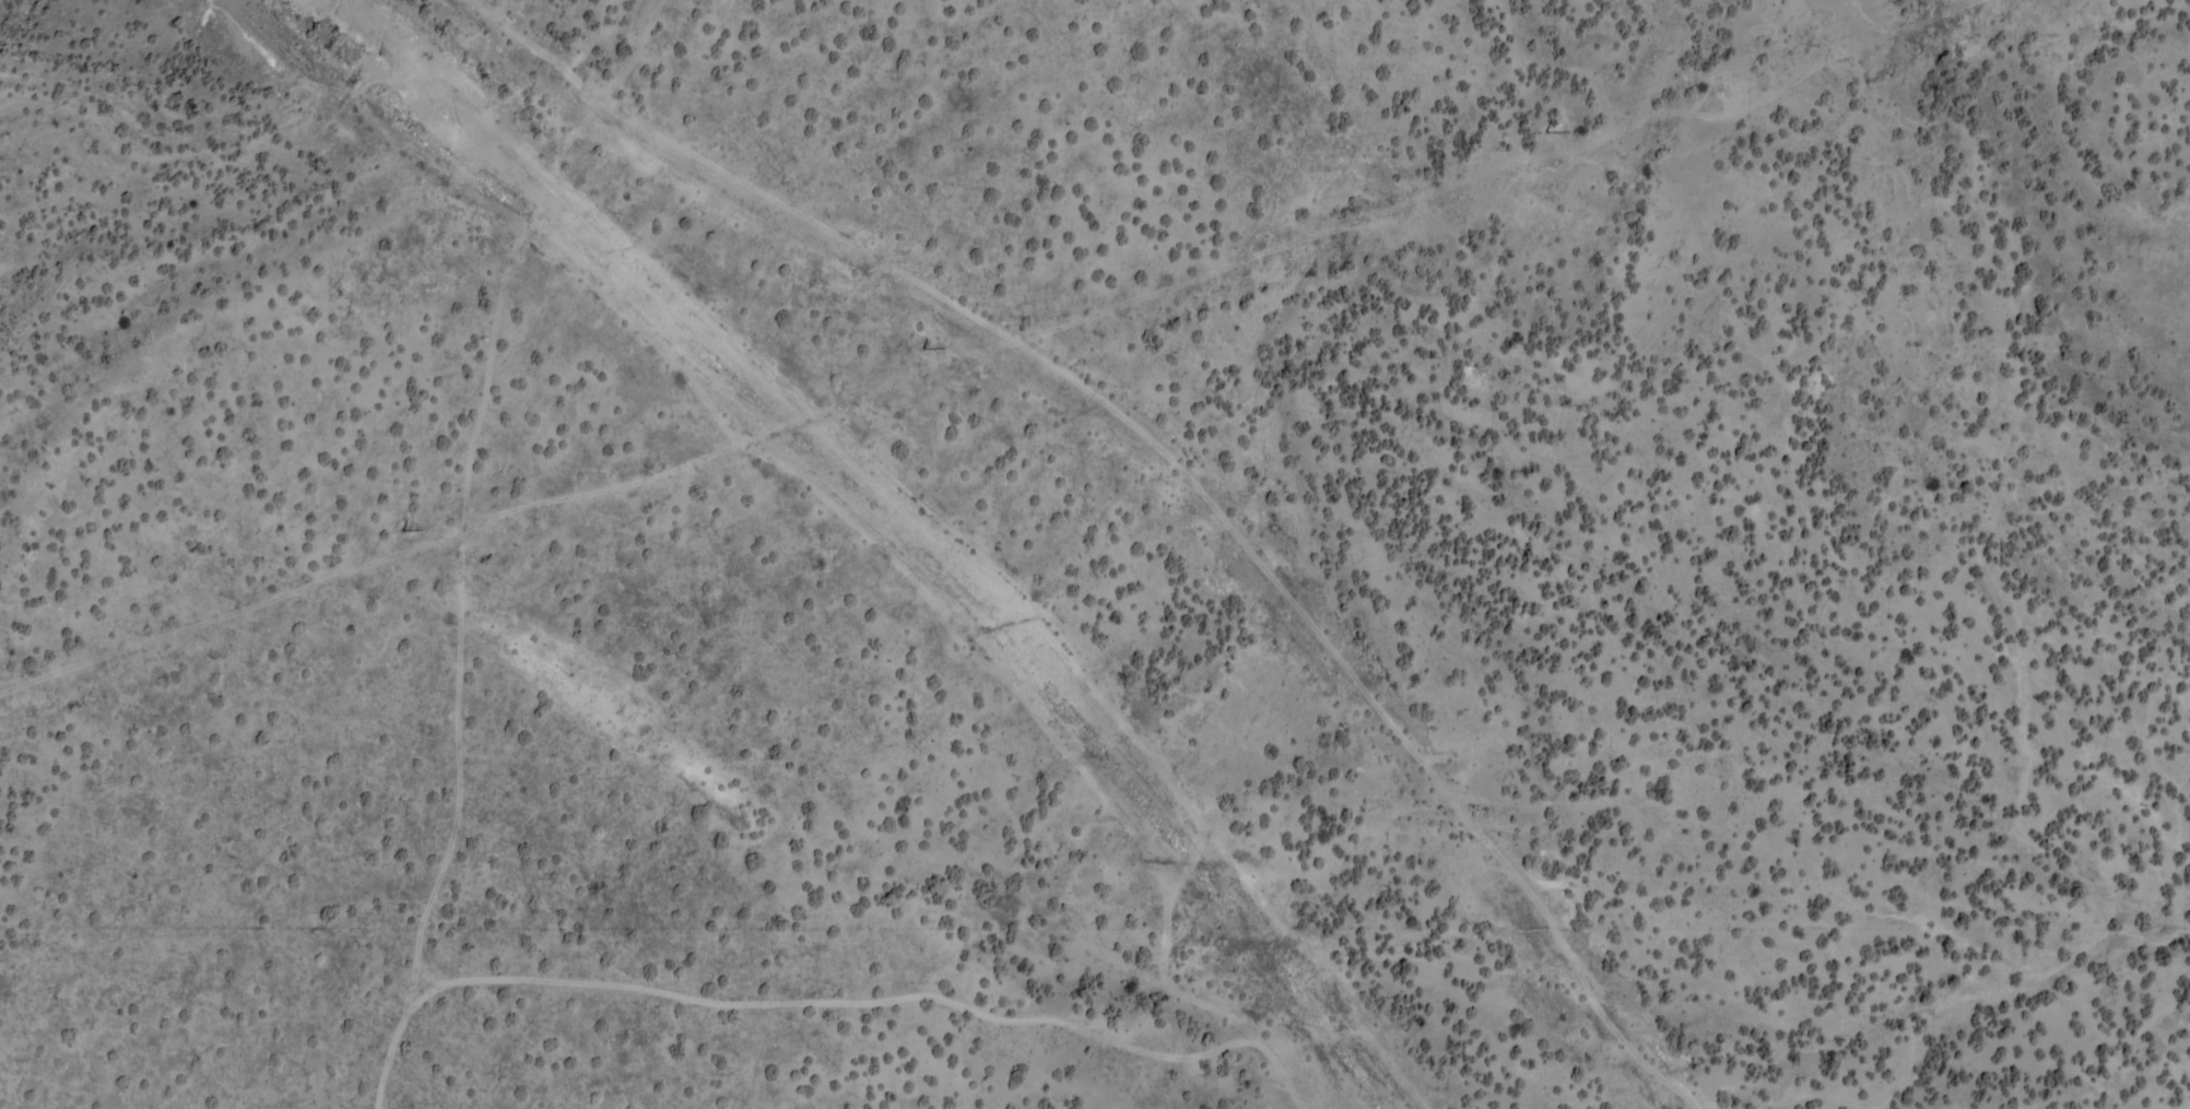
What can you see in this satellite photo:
road: (1085, 732)
road: (266, 1104)

